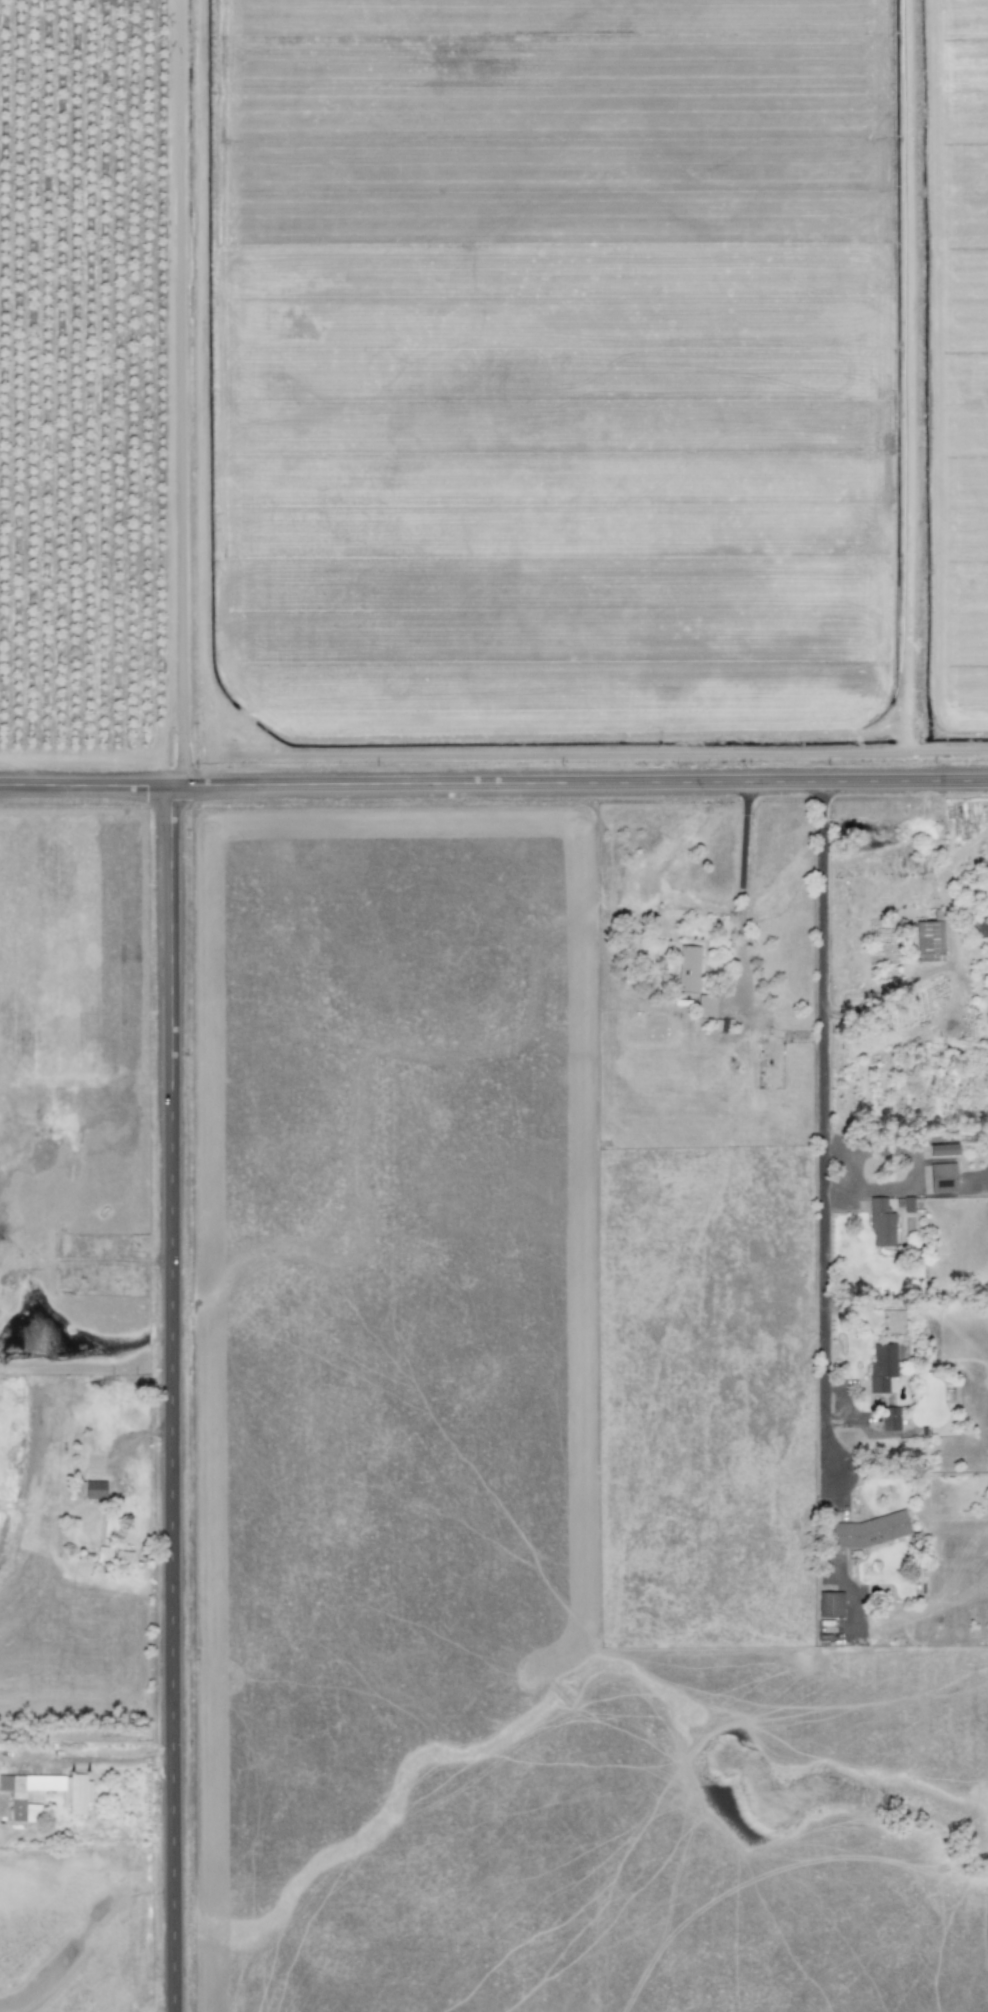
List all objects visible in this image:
road: (184, 392)
road: (585, 752)
road: (494, 782)
road: (741, 879)
building: (983, 924)
building: (929, 938)
building: (688, 968)
building: (706, 1005)
road: (825, 1112)
building: (944, 1149)
building: (908, 1203)
building: (881, 1222)
building: (882, 1367)
road: (174, 1398)
building: (890, 1418)
building: (91, 1488)
building: (869, 1529)
building: (830, 1603)
building: (75, 1794)

